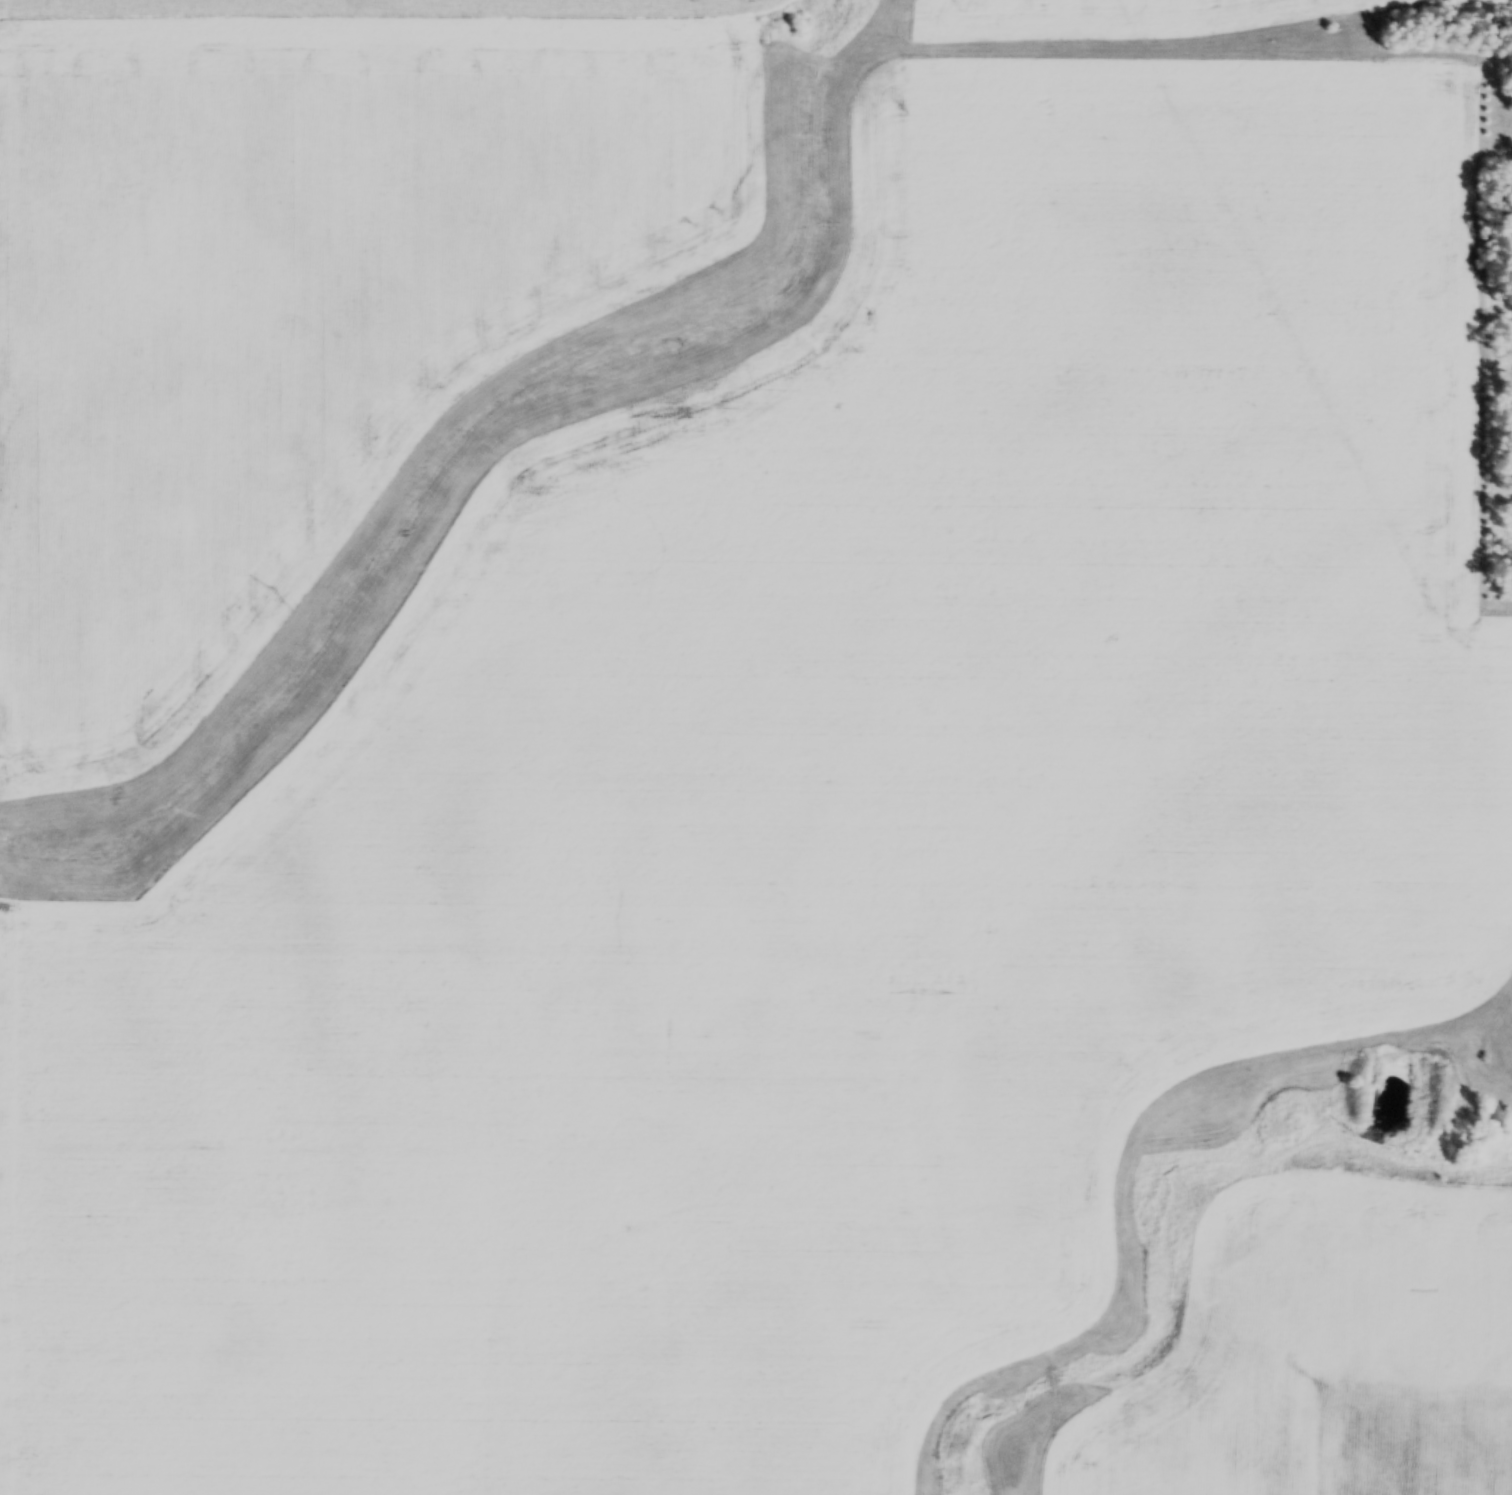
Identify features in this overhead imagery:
building: (1506, 1484)

